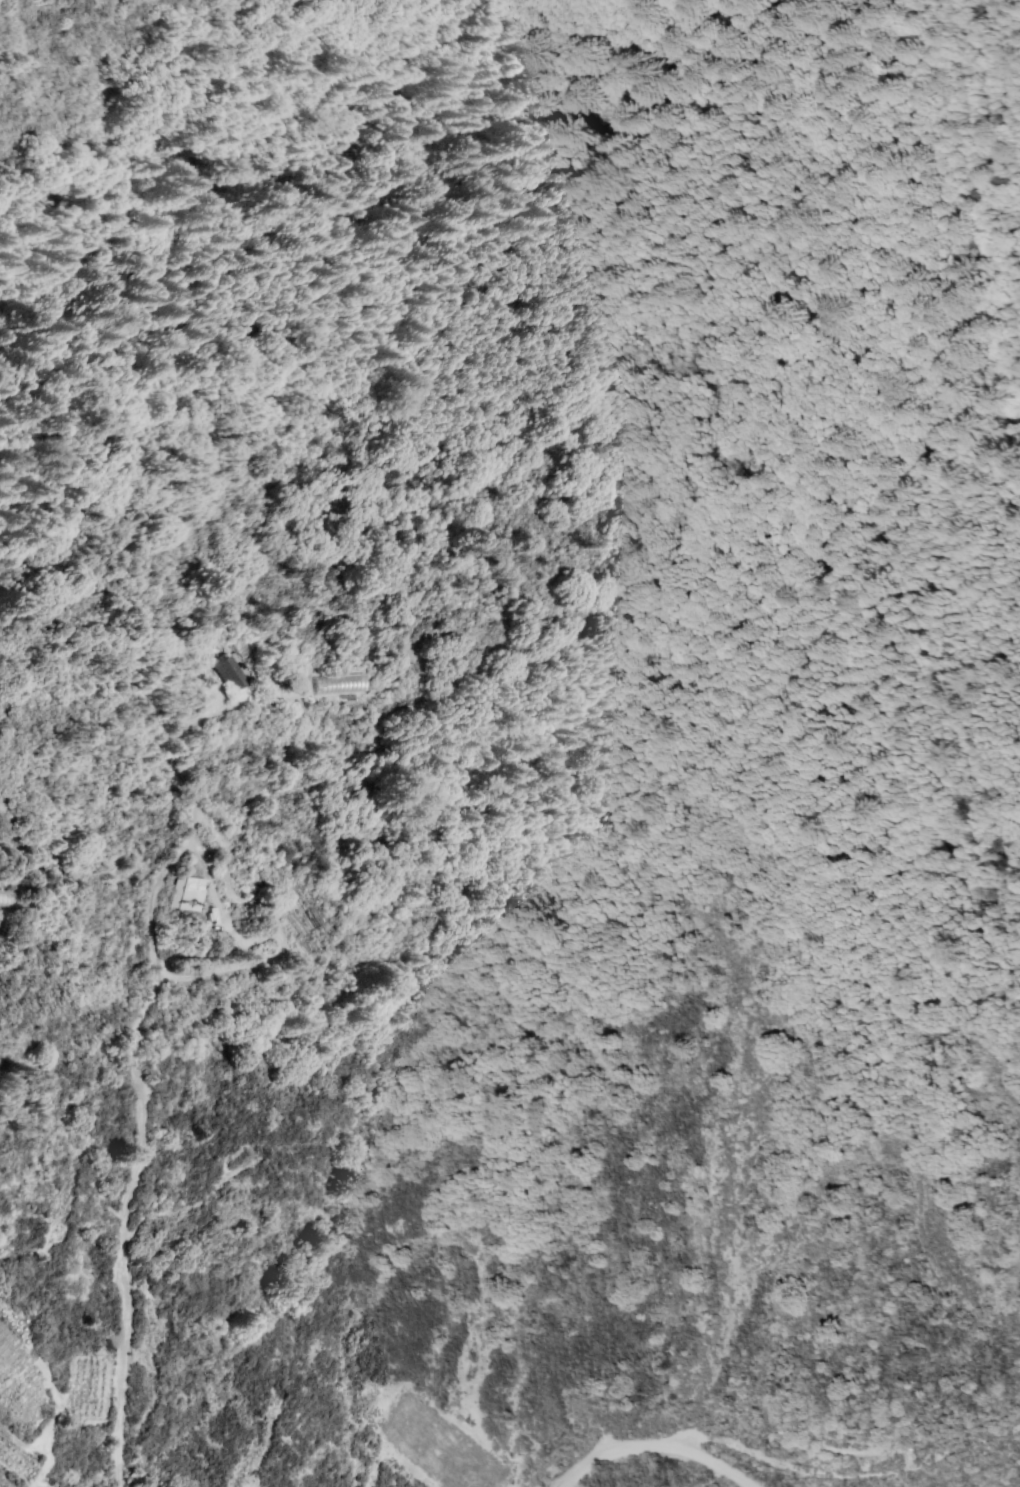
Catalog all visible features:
building: (235, 678)
building: (340, 683)
building: (191, 900)
road: (134, 1030)
crop: (24, 1385)
road: (656, 1444)
road: (41, 1449)
road: (854, 1481)

